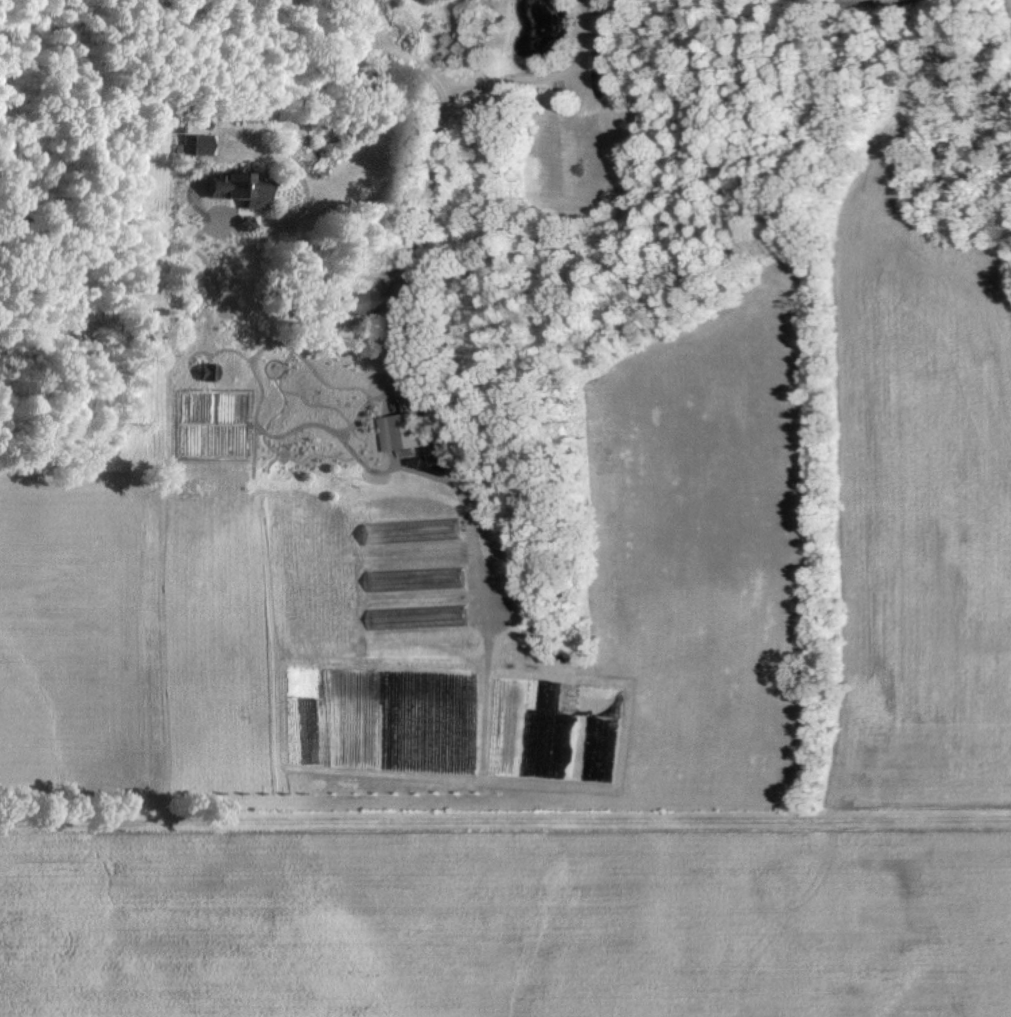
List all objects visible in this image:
road: (528, 81)
road: (304, 101)
road: (454, 118)
building: (184, 143)
building: (227, 187)
building: (357, 301)

